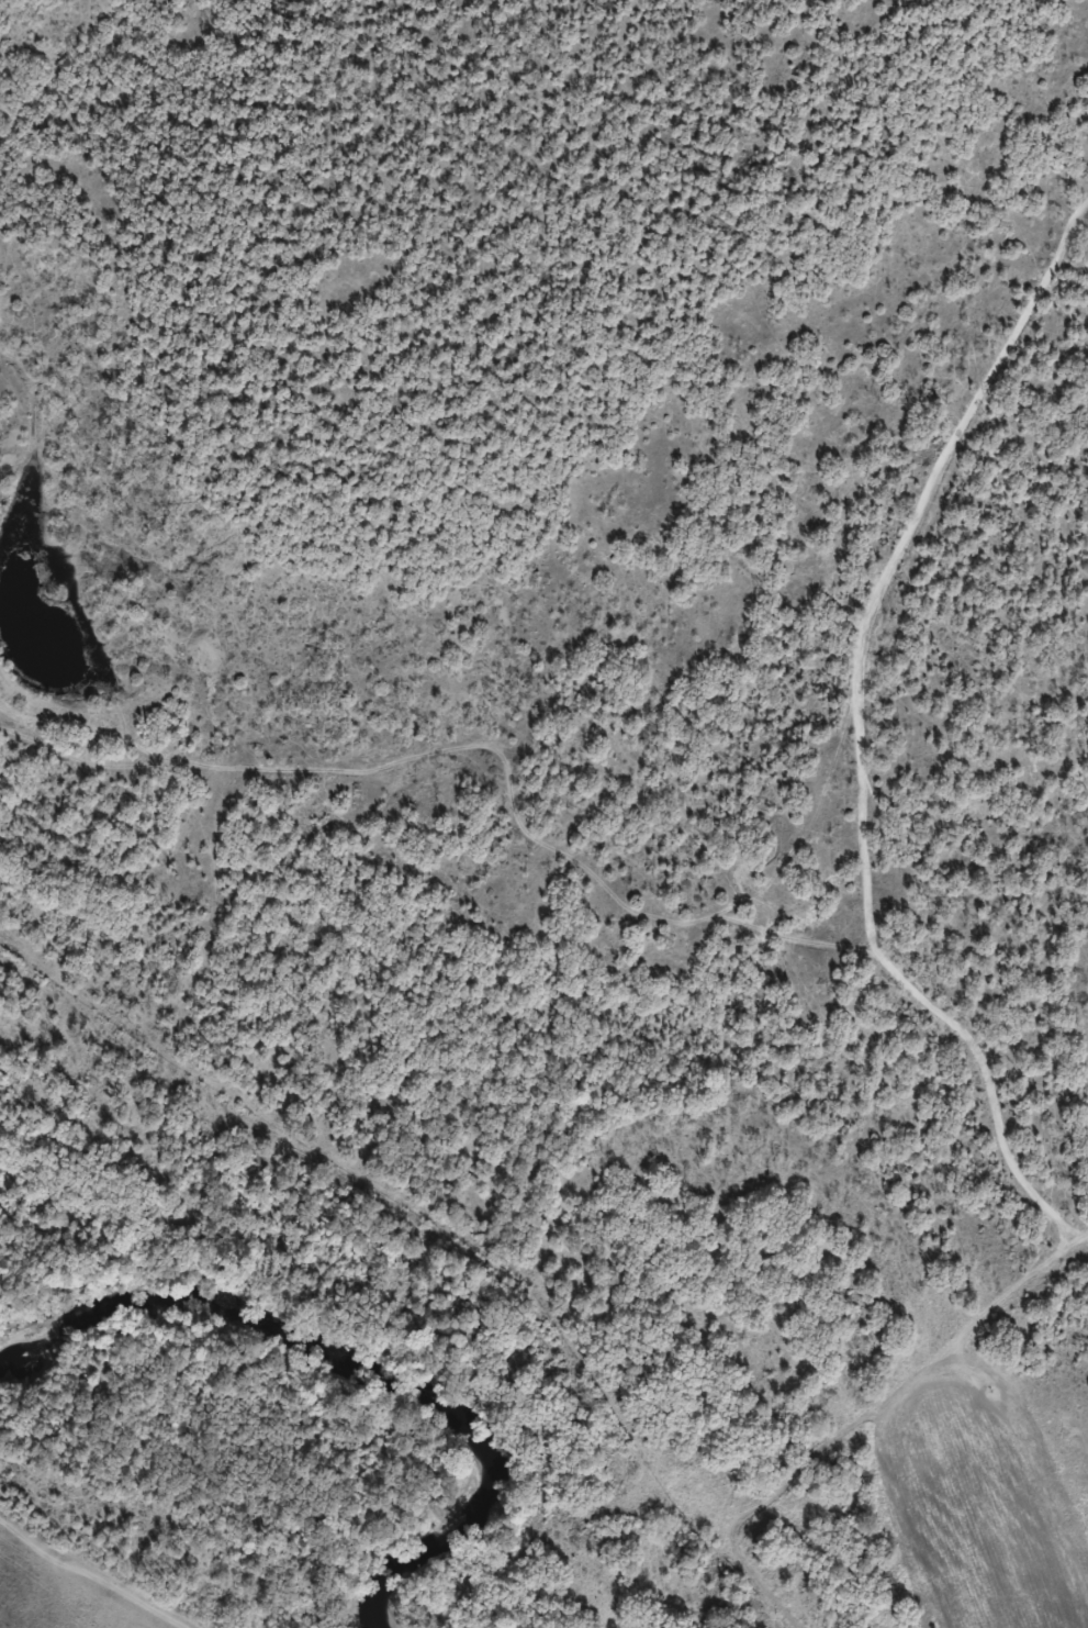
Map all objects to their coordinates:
road: (859, 729)
road: (471, 769)
road: (731, 873)
river: (370, 1351)

